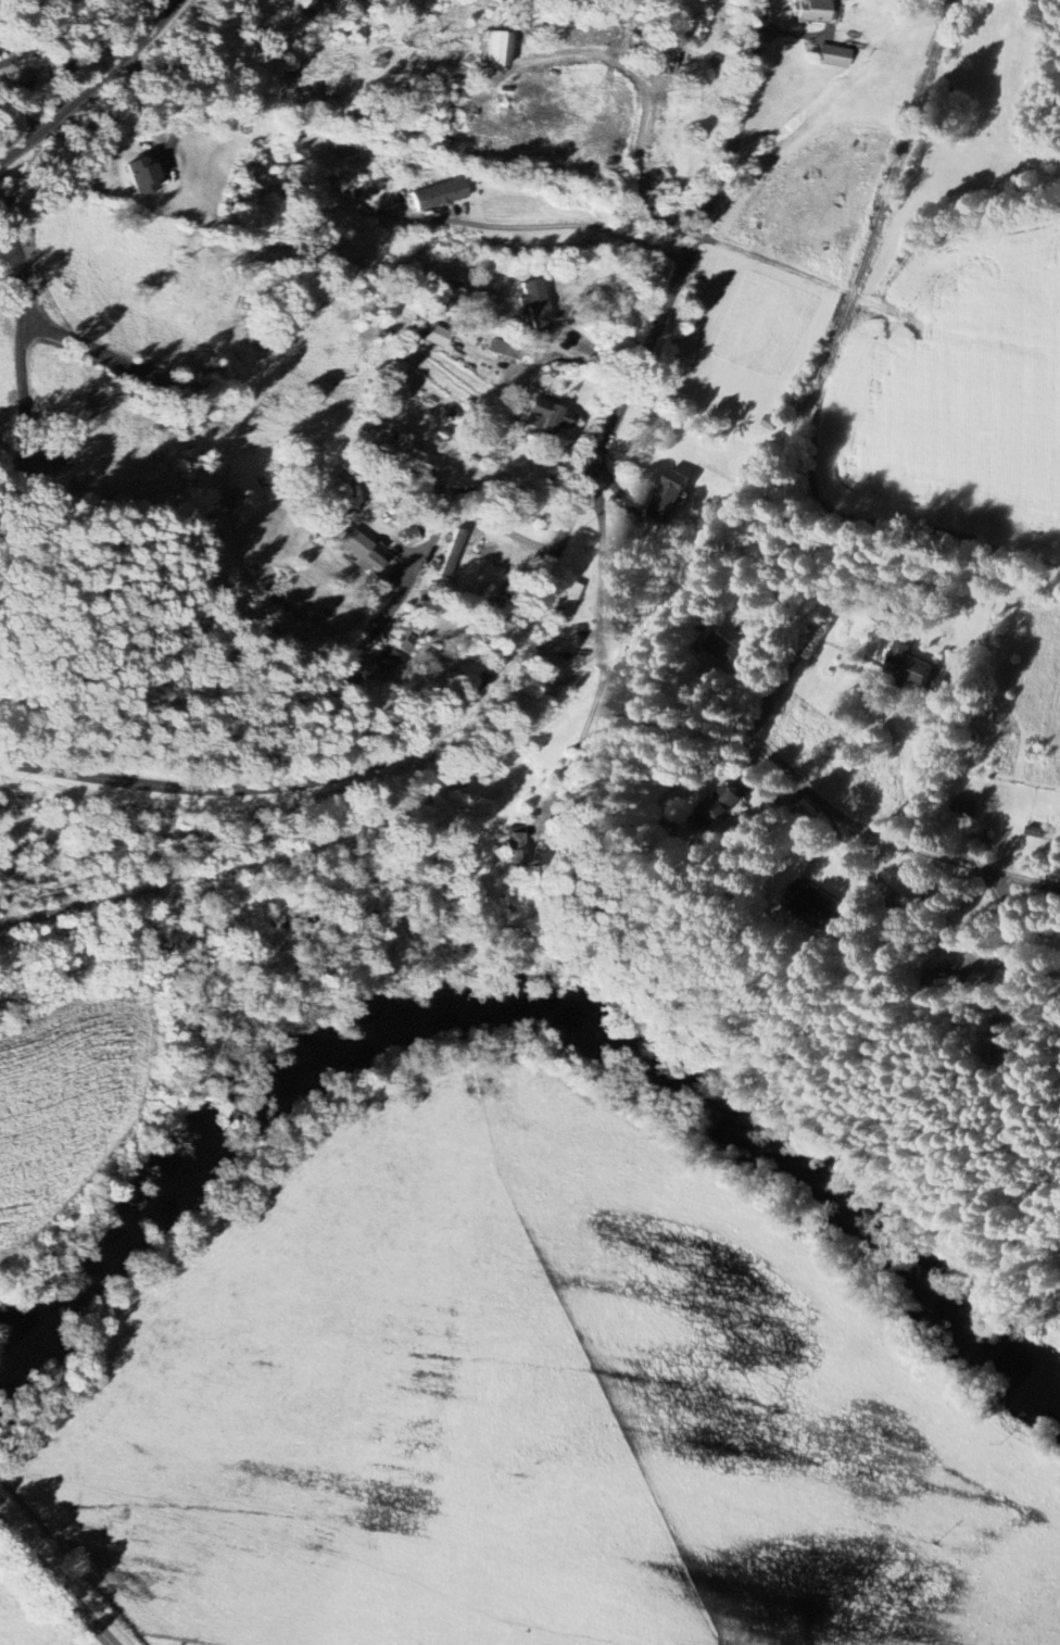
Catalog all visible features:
building: (812, 10)
building: (494, 49)
building: (835, 56)
road: (93, 87)
building: (144, 175)
building: (442, 194)
road: (567, 223)
building: (535, 303)
building: (438, 337)
building: (547, 417)
building: (407, 454)
building: (672, 497)
road: (441, 523)
building: (413, 536)
building: (364, 552)
road: (594, 577)
road: (541, 588)
railway: (640, 633)
building: (407, 637)
building: (376, 664)
building: (913, 667)
road: (583, 752)
road: (929, 764)
road: (819, 801)
building: (515, 851)
railway: (16, 862)
building: (947, 981)
river: (226, 1133)
river: (786, 1150)
pier: (5, 1326)
road: (5, 1327)
river: (20, 1351)
road: (56, 1582)

